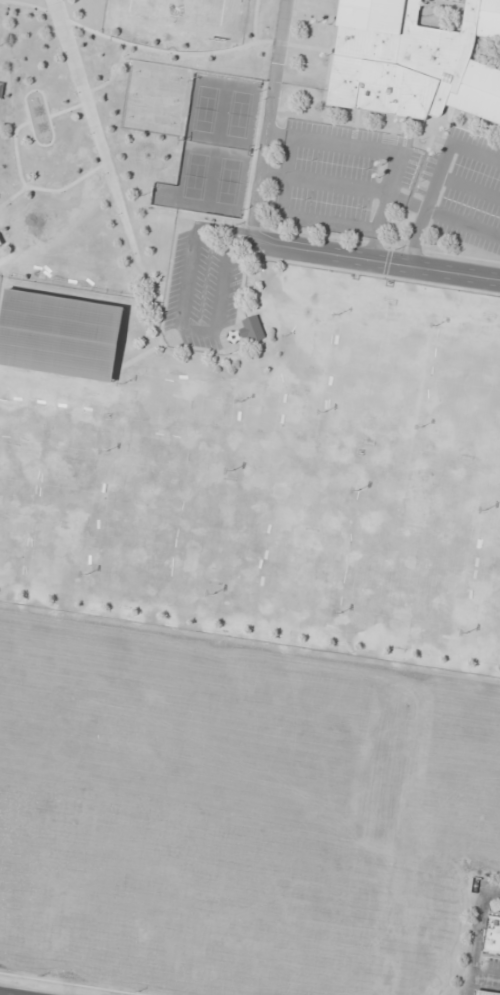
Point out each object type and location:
road: (30, 5)
park: (186, 9)
road: (254, 20)
road: (162, 50)
building: (413, 60)
road: (112, 74)
park: (157, 74)
park: (154, 96)
park: (205, 108)
road: (67, 109)
park: (239, 114)
road: (29, 118)
road: (269, 118)
park: (151, 119)
road: (386, 150)
road: (476, 152)
road: (102, 153)
park: (195, 176)
parking lot: (341, 176)
park: (229, 181)
road: (325, 182)
road: (32, 187)
road: (470, 187)
parking lot: (463, 190)
road: (13, 195)
road: (430, 203)
road: (292, 214)
road: (463, 225)
building: (0, 243)
road: (375, 258)
parking lot: (201, 292)
road: (163, 304)
road: (182, 317)
building: (252, 329)
building: (59, 335)
road: (141, 354)
park: (226, 363)
park: (379, 371)
park: (466, 388)
park: (217, 401)
park: (261, 407)
park: (302, 413)
park: (20, 428)
park: (71, 436)
park: (129, 463)
park: (17, 473)
park: (204, 476)
park: (65, 482)
park: (293, 489)
park: (3, 542)
park: (61, 561)
park: (410, 561)
park: (112, 569)
park: (187, 580)
park: (276, 594)
park: (489, 595)
road: (476, 927)
building: (491, 934)
road: (485, 977)
road: (469, 985)
gas station: (485, 992)
building: (486, 992)

